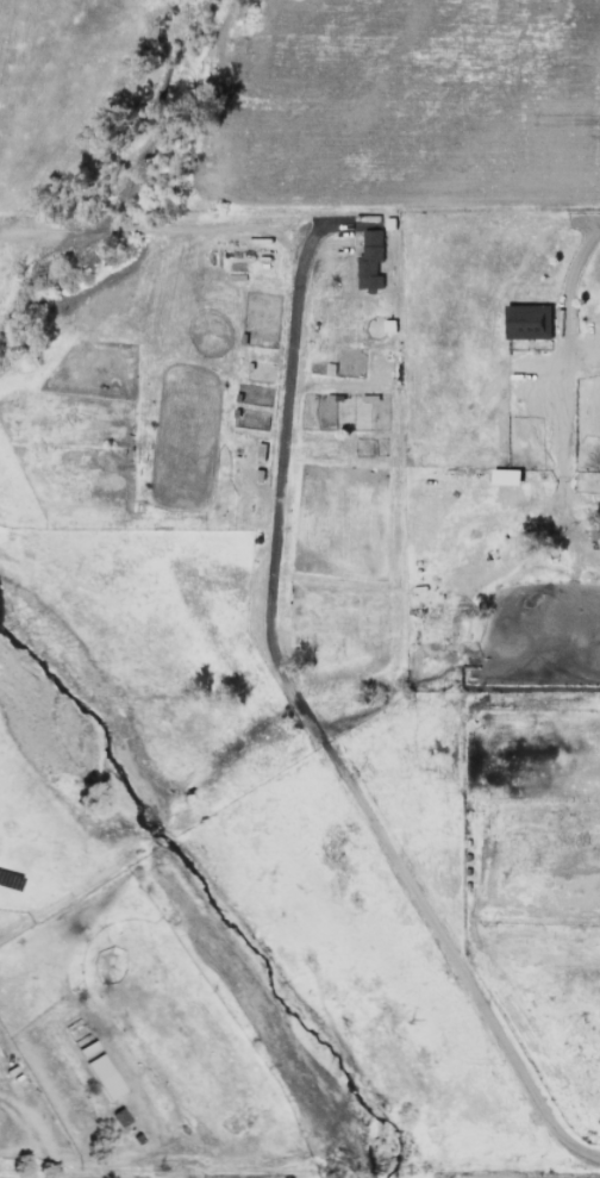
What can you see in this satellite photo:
park: (80, 121)
road: (589, 220)
building: (370, 260)
building: (529, 320)
building: (507, 475)
road: (310, 713)
building: (105, 1077)
building: (119, 1117)
road: (81, 1161)

